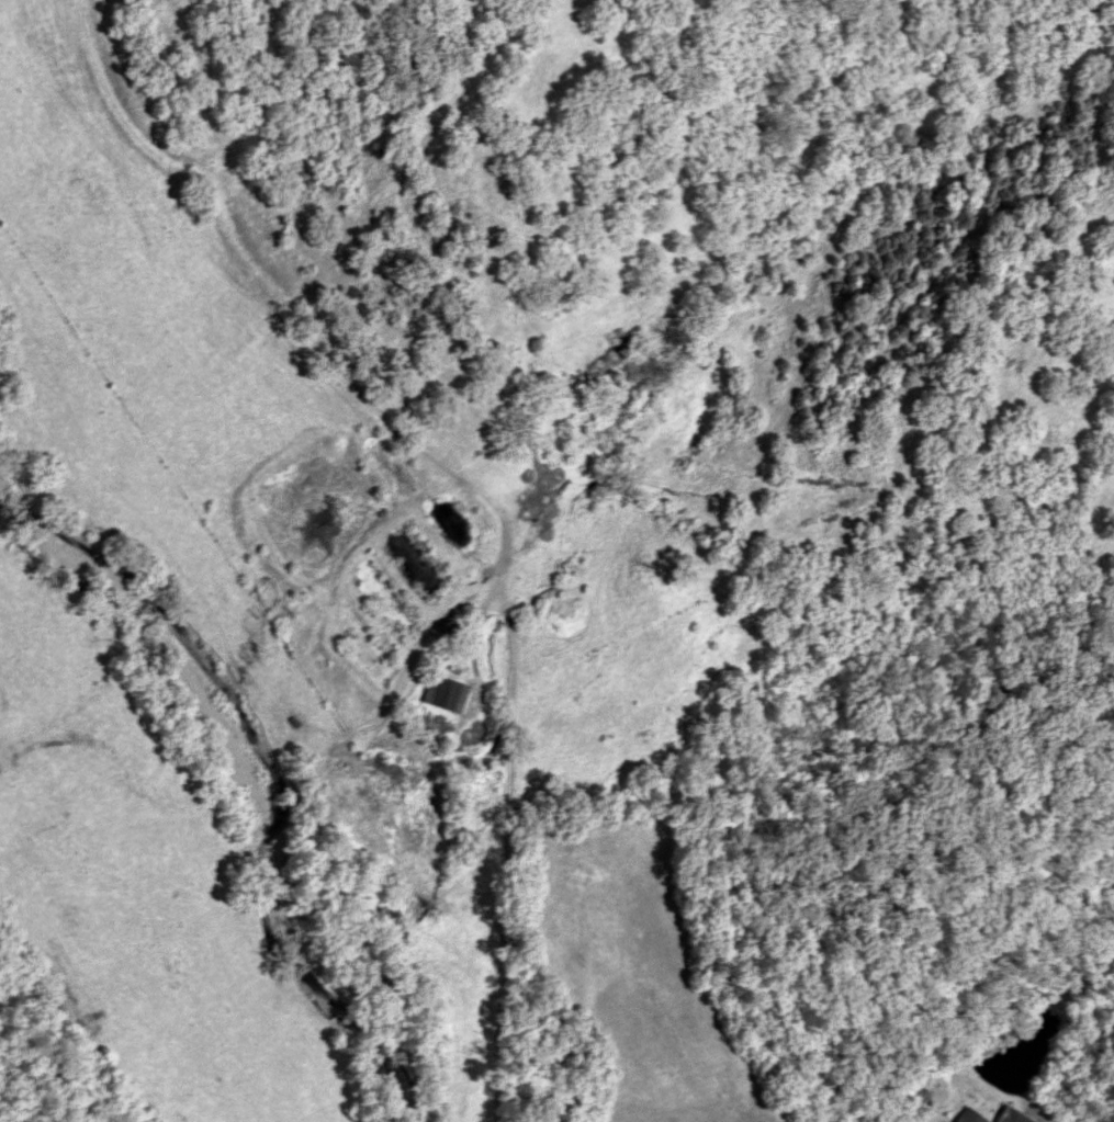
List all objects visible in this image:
building: (441, 693)
road: (505, 866)
building: (968, 1115)
building: (1012, 1115)

